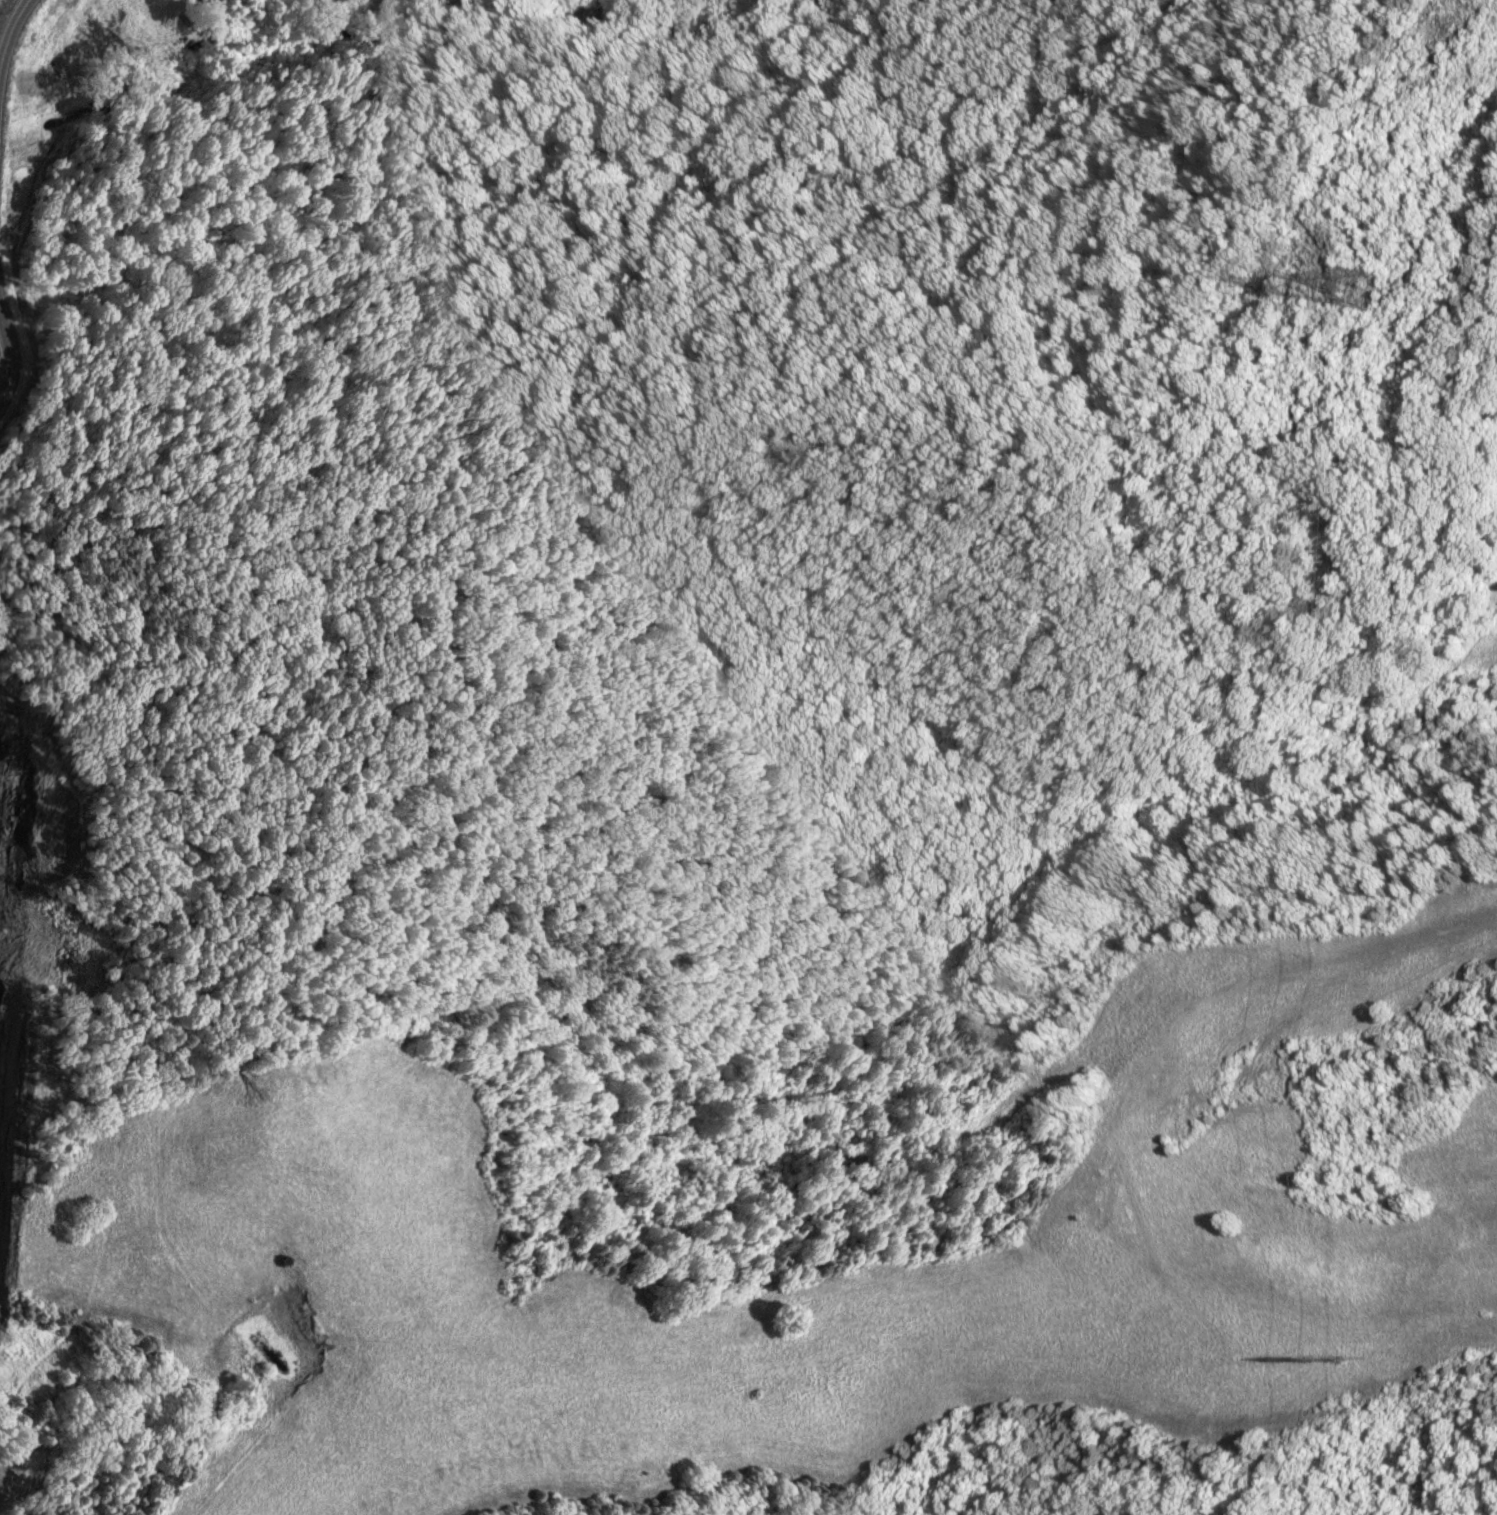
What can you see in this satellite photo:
building: (67, 26)
road: (12, 38)
building: (4, 135)
power tower: (1364, 293)
road: (10, 345)
power tower: (1347, 1363)

